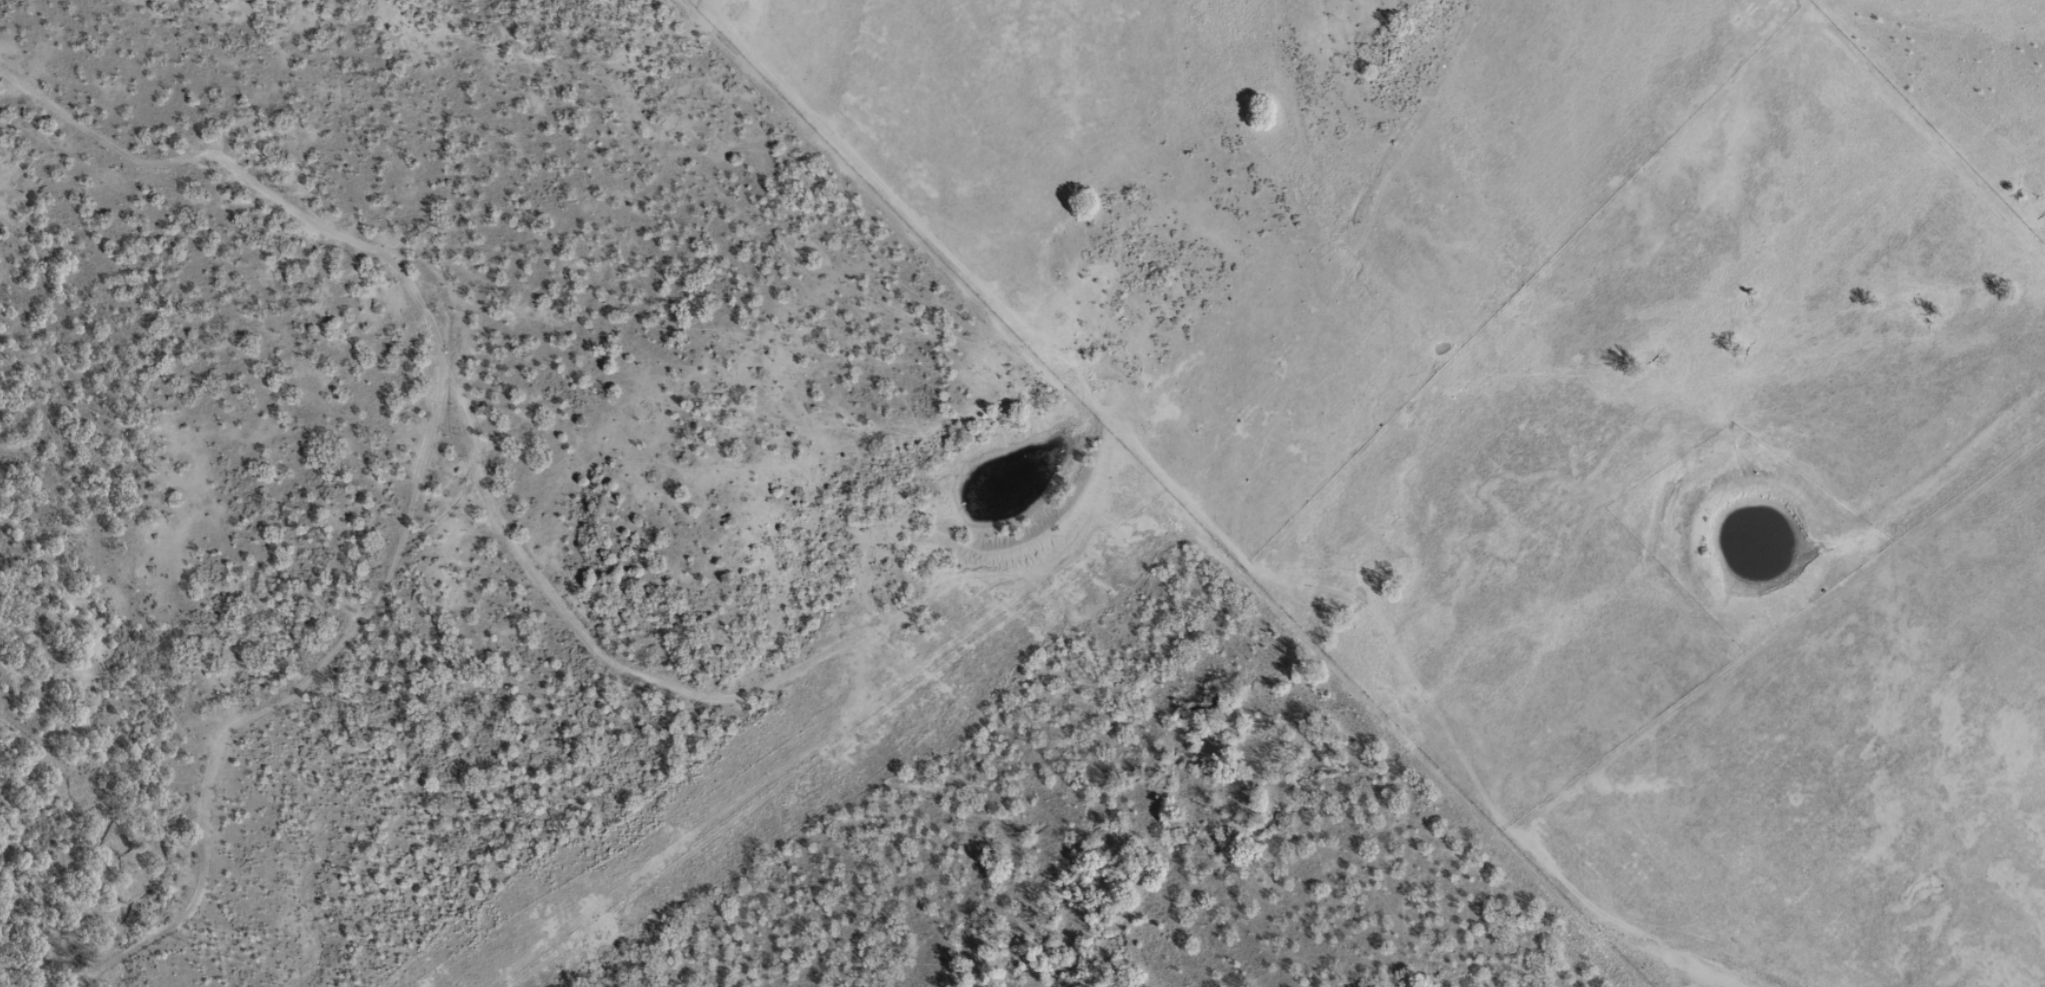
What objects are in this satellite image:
road: (1907, 936)

